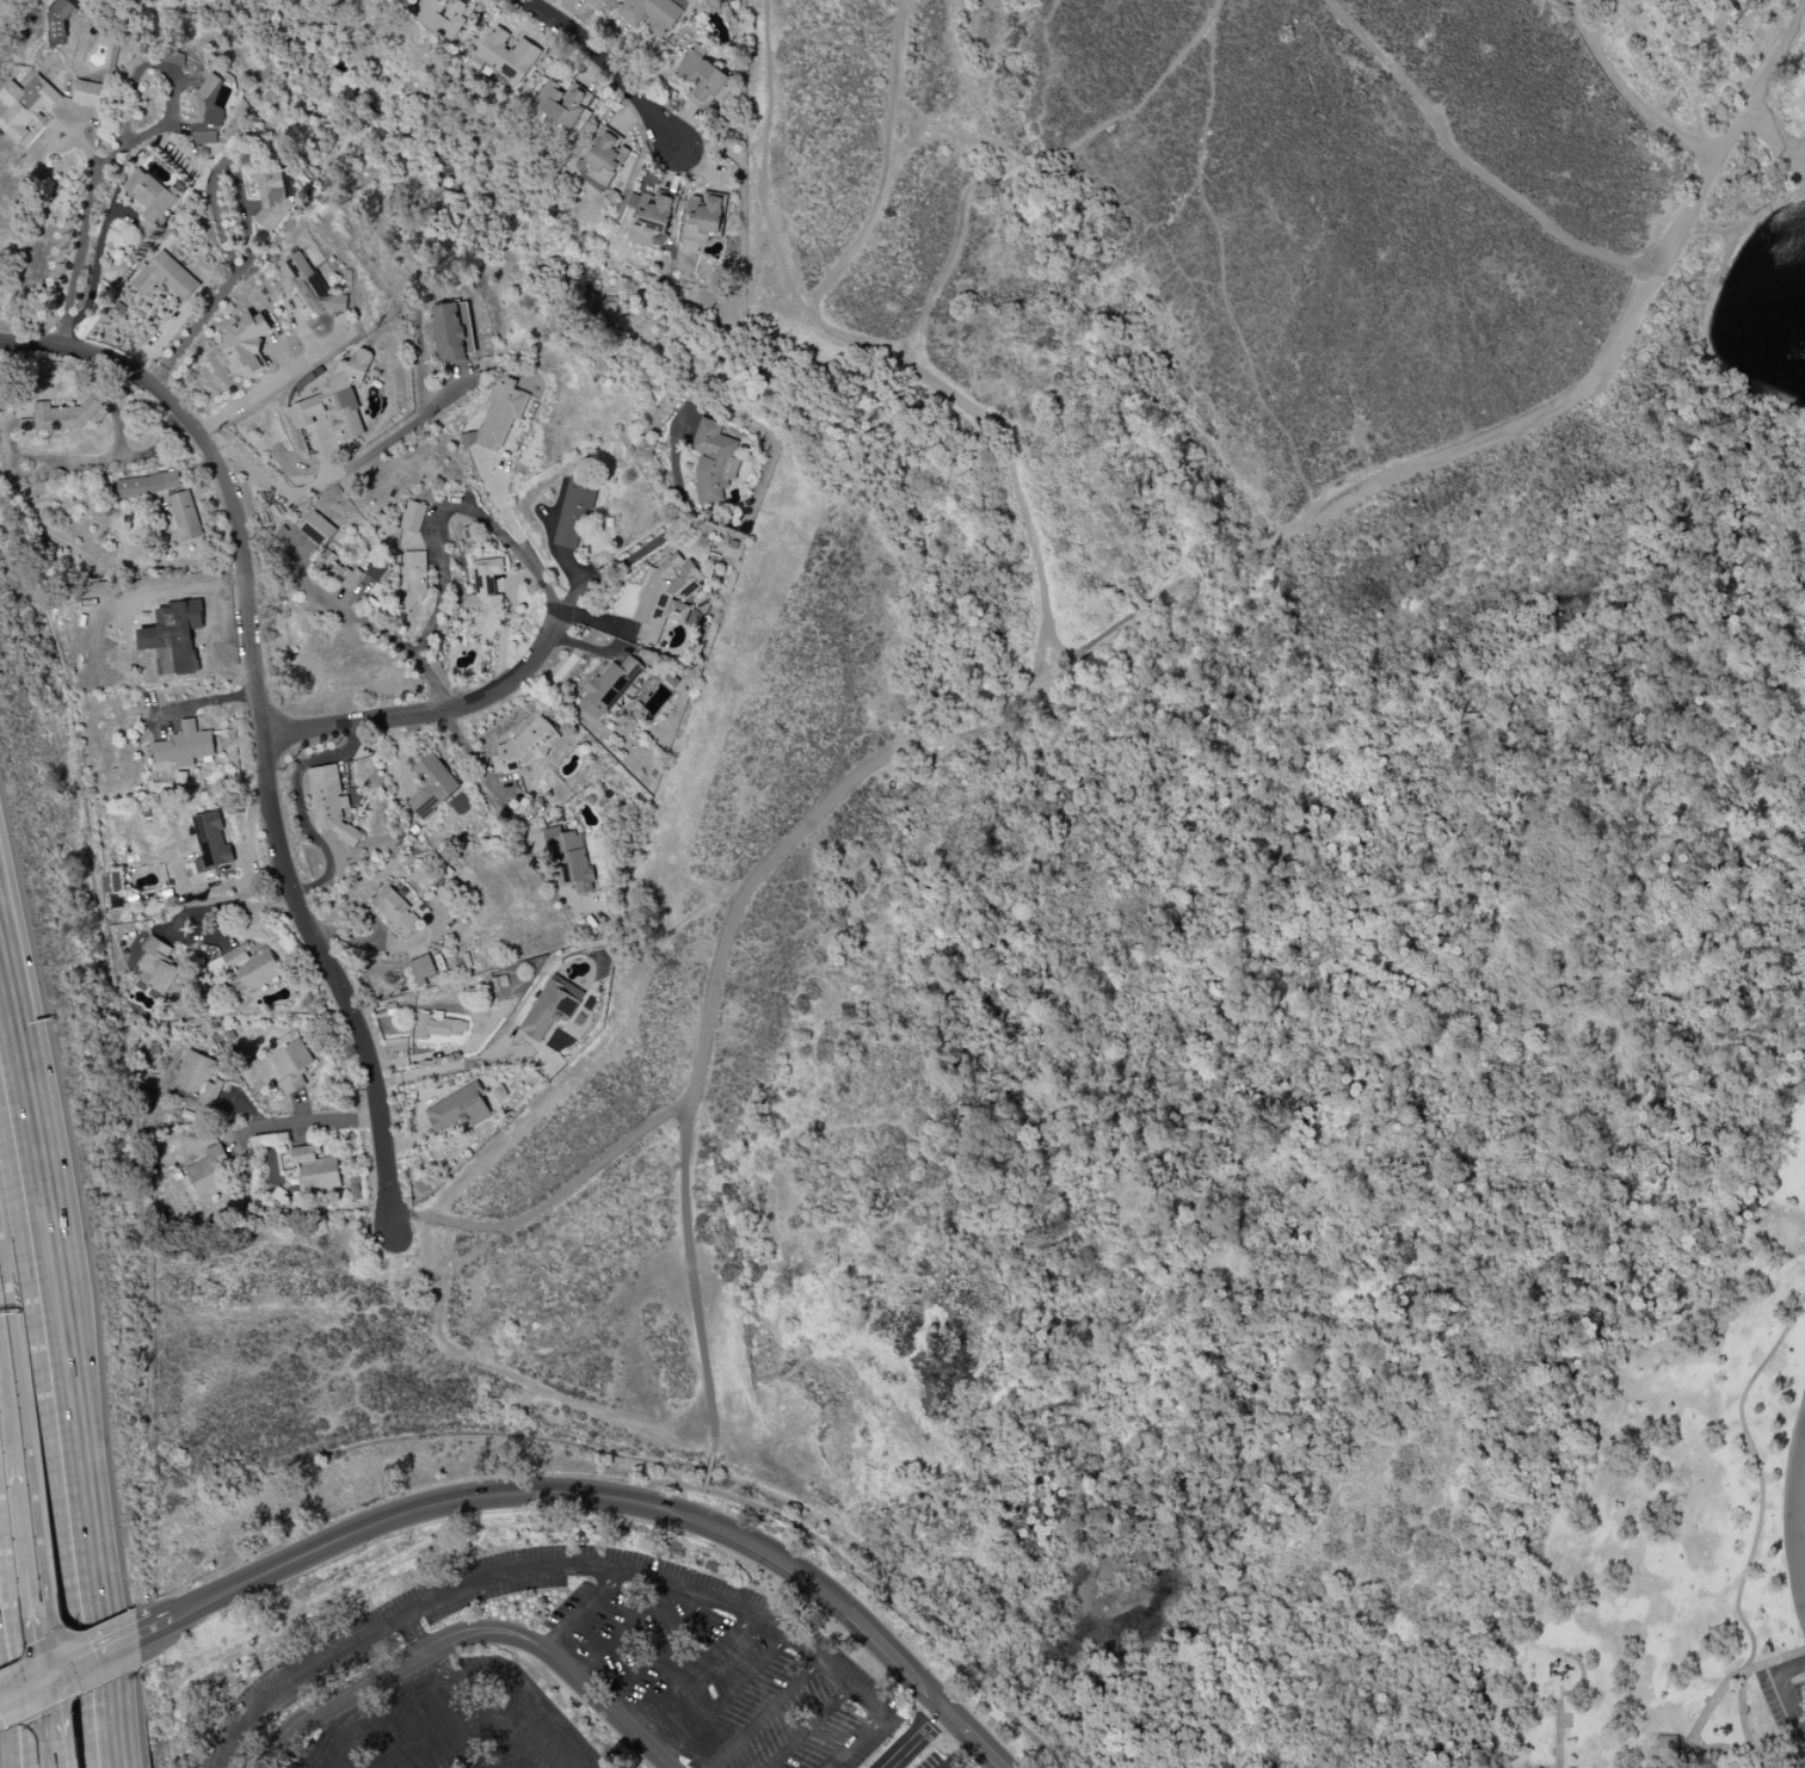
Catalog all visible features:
building: (591, 0)
building: (651, 14)
building: (444, 16)
building: (506, 55)
road: (1668, 56)
building: (174, 57)
road: (608, 67)
building: (702, 78)
road: (1049, 81)
road: (1724, 85)
building: (88, 94)
road: (1631, 96)
road: (960, 100)
building: (561, 103)
building: (26, 109)
building: (205, 112)
road: (954, 134)
road: (1775, 134)
road: (118, 146)
building: (604, 159)
road: (1031, 160)
road: (885, 165)
road: (1471, 165)
building: (271, 196)
building: (148, 198)
building: (704, 216)
building: (653, 217)
road: (1751, 229)
road: (220, 232)
building: (165, 277)
road: (1221, 282)
building: (313, 287)
building: (451, 331)
building: (246, 343)
road: (877, 350)
road: (284, 372)
building: (310, 384)
building: (338, 398)
building: (62, 417)
building: (499, 417)
road: (407, 427)
building: (713, 461)
road: (269, 482)
building: (147, 485)
building: (573, 515)
building: (185, 516)
building: (412, 517)
building: (318, 529)
road: (439, 535)
road: (645, 548)
road: (1236, 563)
building: (337, 571)
building: (376, 573)
building: (415, 578)
road: (190, 585)
building: (665, 597)
building: (483, 602)
road: (362, 620)
building: (174, 636)
road: (216, 640)
building: (608, 688)
road: (436, 715)
road: (263, 722)
building: (184, 747)
building: (525, 747)
building: (431, 786)
road: (501, 801)
building: (329, 803)
building: (211, 842)
building: (569, 860)
road: (244, 908)
building: (395, 911)
park: (1188, 916)
building: (155, 968)
building: (245, 968)
building: (423, 969)
building: (550, 1008)
building: (439, 1029)
building: (282, 1042)
building: (291, 1066)
road: (451, 1068)
building: (197, 1078)
building: (458, 1109)
road: (319, 1123)
road: (684, 1131)
building: (315, 1169)
building: (209, 1172)
building: (355, 1188)
road: (67, 1197)
road: (476, 1251)
road: (53, 1262)
road: (524, 1381)
road: (7, 1407)
road: (27, 1423)
road: (696, 1440)
road: (53, 1446)
road: (709, 1473)
road: (1761, 1477)
road: (672, 1485)
road: (621, 1502)
road: (1793, 1518)
road: (23, 1545)
road: (1799, 1546)
road: (572, 1566)
road: (897, 1609)
road: (581, 1610)
road: (622, 1631)
road: (469, 1632)
road: (413, 1634)
road: (56, 1649)
road: (118, 1651)
road: (657, 1652)
road: (35, 1653)
parking lot: (327, 1658)
road: (12, 1667)
road: (112, 1667)
road: (692, 1674)
traffic signals: (60, 1678)
road: (110, 1681)
parking lot: (709, 1681)
road: (49, 1682)
traffic signals: (39, 1687)
road: (512, 1689)
road: (1786, 1692)
road: (19, 1694)
road: (725, 1698)
road: (47, 1710)
road: (64, 1711)
parking lot: (1788, 1713)
road: (764, 1714)
road: (1702, 1714)
road: (1744, 1714)
road: (43, 1717)
road: (431, 1720)
parking lot: (451, 1724)
road: (11, 1726)
road: (493, 1726)
road: (808, 1726)
road: (386, 1730)
road: (1561, 1736)
road: (341, 1739)
road: (914, 1739)
building: (1668, 1748)
road: (298, 1752)
road: (1738, 1752)
road: (70, 1756)
road: (48, 1758)
parking lot: (942, 1762)
building: (1533, 1767)
building: (1536, 1767)

